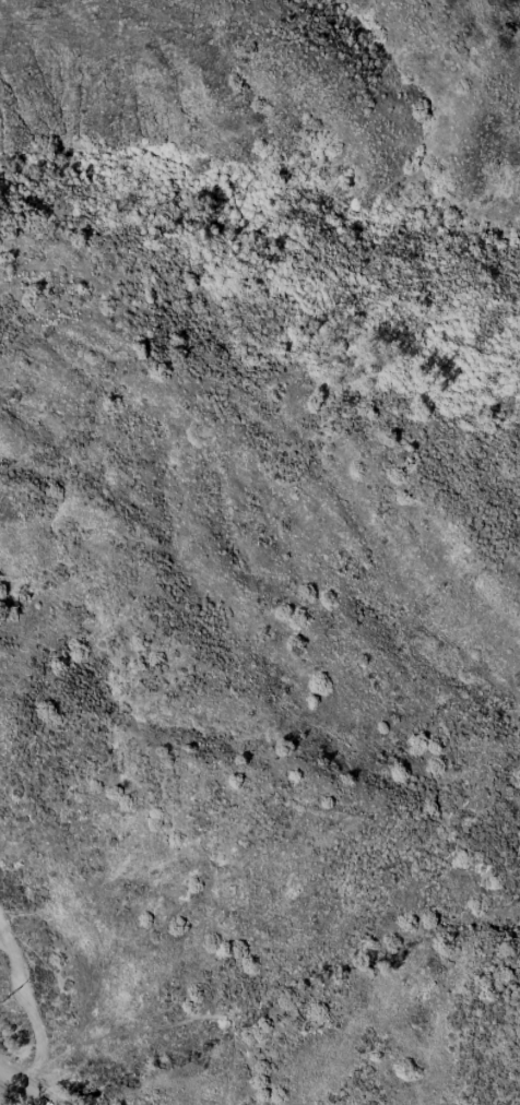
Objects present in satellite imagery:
road: (15, 1093)

